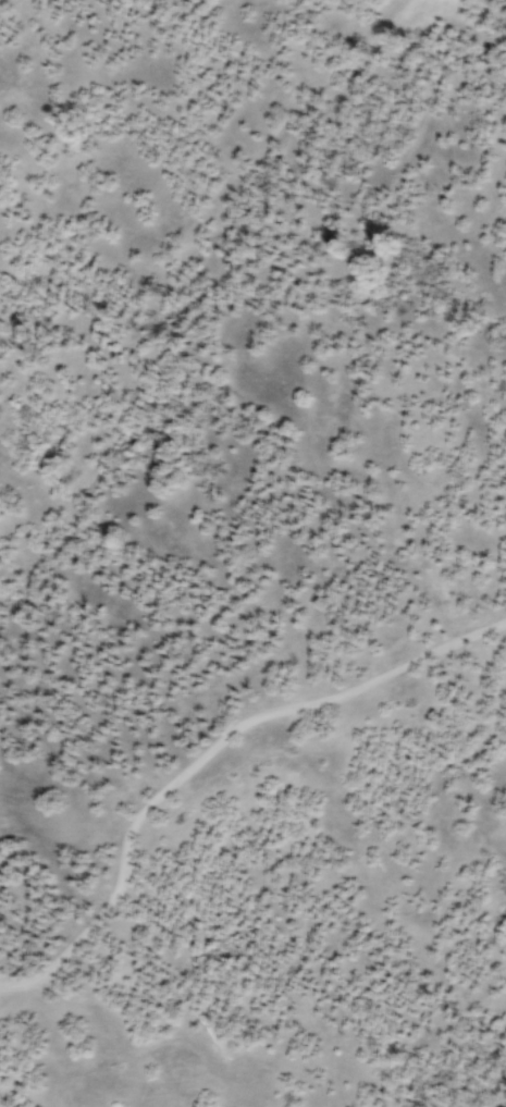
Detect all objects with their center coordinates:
road: (212, 766)

